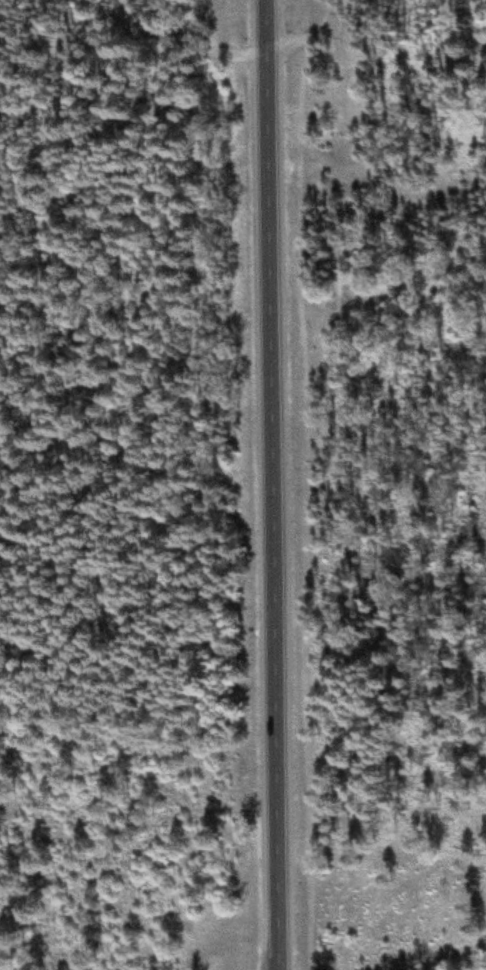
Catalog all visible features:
road: (20, 6)
road: (306, 29)
road: (173, 38)
road: (270, 485)
road: (447, 953)

